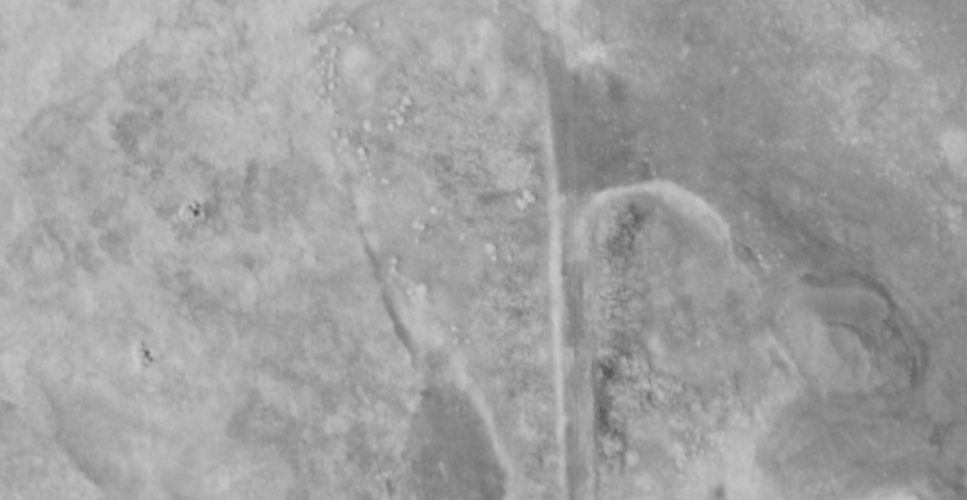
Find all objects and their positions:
road: (569, 250)

